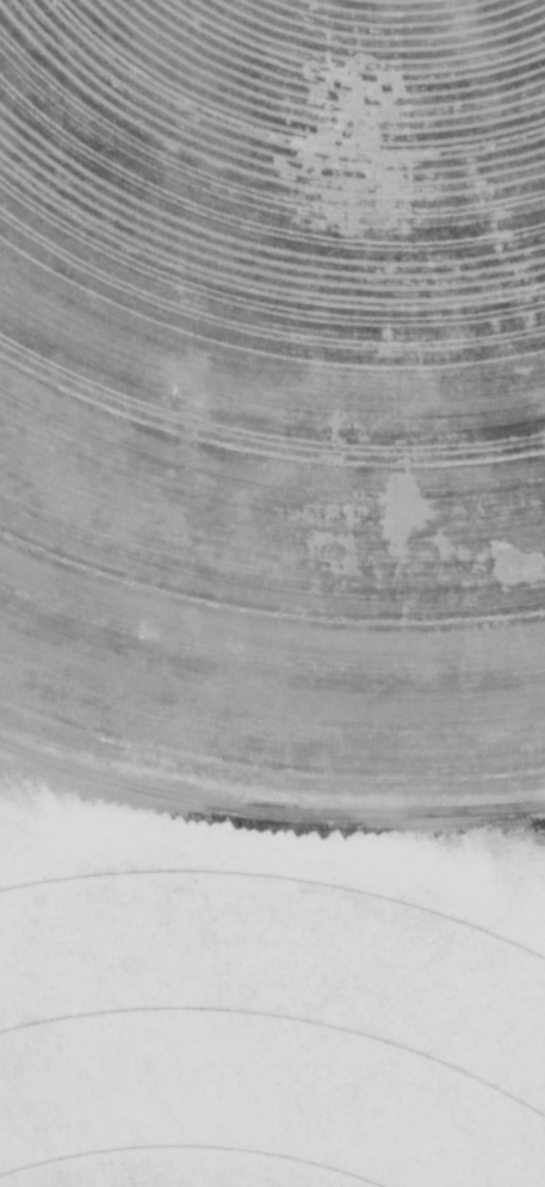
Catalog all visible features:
road: (267, 811)

